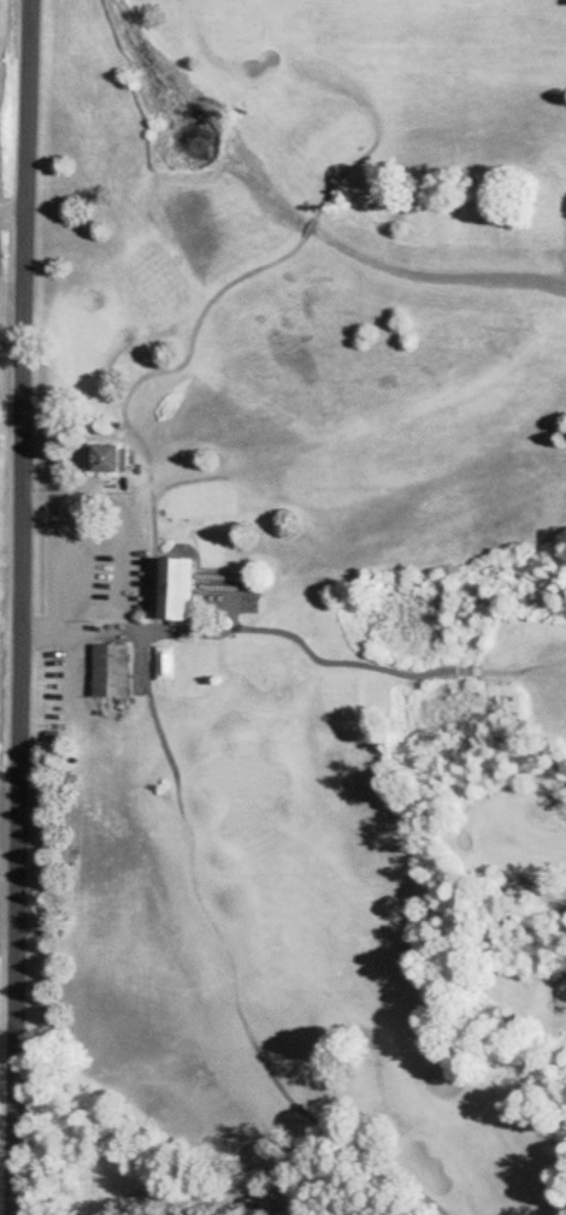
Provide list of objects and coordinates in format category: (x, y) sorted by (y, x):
road: (10, 205)
building: (106, 459)
road: (59, 568)
building: (169, 589)
road: (14, 607)
park: (299, 608)
building: (173, 662)
building: (197, 662)
building: (106, 671)
road: (6, 856)

